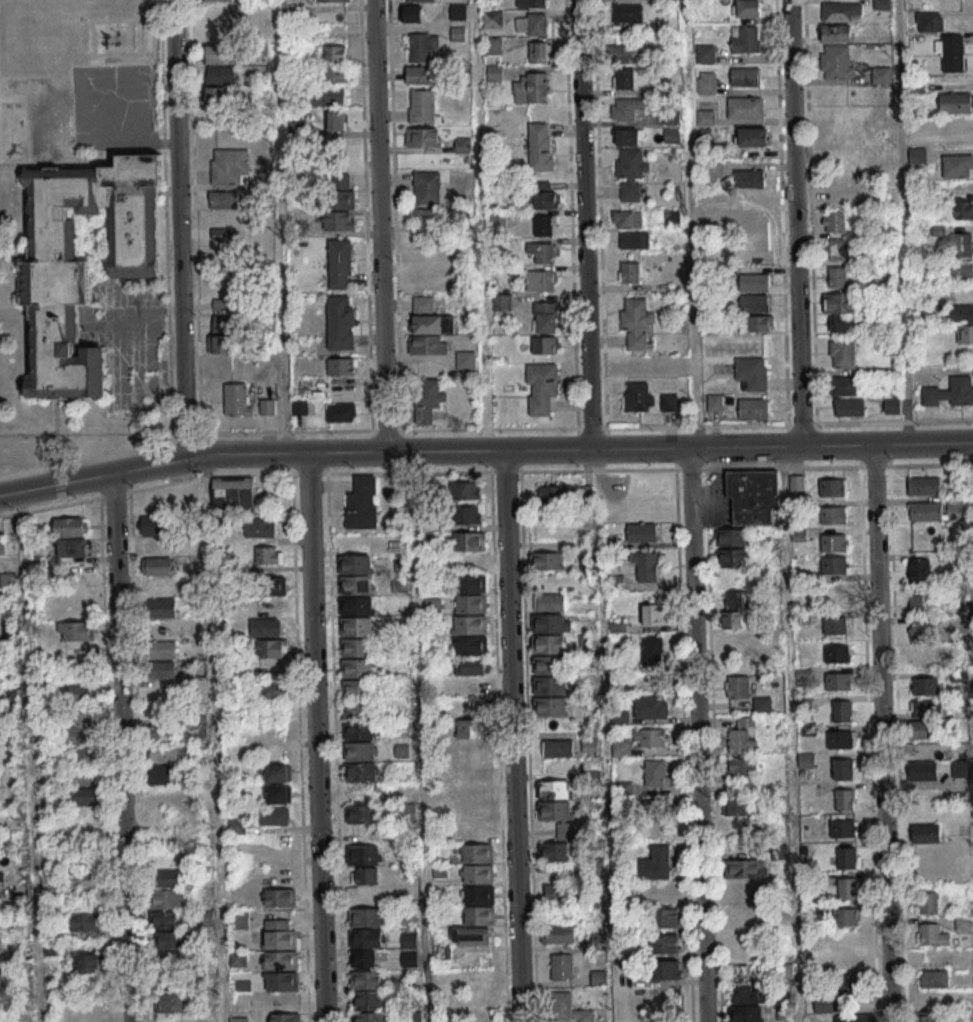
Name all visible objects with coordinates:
building: (219, 0)
building: (333, 0)
building: (418, 0)
building: (531, 3)
building: (746, 8)
building: (457, 11)
building: (840, 11)
building: (627, 12)
building: (412, 13)
building: (492, 18)
building: (931, 22)
building: (531, 24)
building: (457, 33)
building: (837, 33)
building: (745, 39)
building: (217, 44)
building: (421, 46)
building: (493, 46)
building: (538, 52)
building: (951, 52)
building: (334, 53)
building: (704, 53)
building: (627, 54)
building: (836, 63)
building: (494, 73)
building: (335, 74)
building: (421, 74)
building: (881, 74)
building: (220, 75)
building: (745, 76)
building: (623, 78)
building: (706, 83)
building: (531, 87)
building: (216, 95)
building: (328, 96)
building: (954, 103)
building: (422, 106)
building: (744, 107)
building: (627, 109)
building: (705, 117)
building: (335, 119)
building: (958, 127)
building: (916, 132)
building: (671, 135)
building: (752, 136)
building: (423, 137)
building: (629, 137)
building: (462, 145)
building: (540, 146)
building: (917, 155)
building: (955, 166)
building: (229, 167)
building: (712, 168)
building: (630, 173)
building: (748, 178)
building: (426, 187)
building: (340, 191)
building: (541, 195)
building: (873, 196)
building: (223, 199)
building: (754, 199)
building: (961, 209)
building: (426, 217)
building: (626, 219)
building: (338, 220)
building: (497, 220)
building: (755, 220)
building: (833, 222)
road: (903, 222)
road: (794, 223)
road: (689, 224)
road: (478, 225)
building: (544, 225)
road: (583, 225)
road: (378, 226)
road: (178, 229)
building: (633, 240)
building: (958, 244)
building: (837, 249)
building: (542, 251)
building: (81, 262)
building: (339, 264)
building: (629, 272)
building: (959, 272)
building: (835, 277)
building: (539, 279)
building: (754, 282)
building: (501, 302)
building: (754, 303)
building: (841, 303)
building: (960, 313)
building: (428, 317)
building: (544, 317)
building: (339, 322)
building: (637, 323)
building: (760, 323)
building: (845, 324)
building: (221, 334)
building: (965, 334)
building: (428, 344)
building: (544, 344)
building: (842, 352)
building: (465, 359)
building: (641, 365)
building: (341, 366)
building: (750, 374)
building: (843, 385)
building: (540, 388)
building: (950, 392)
building: (637, 396)
building: (427, 398)
building: (237, 399)
building: (668, 401)
building: (714, 403)
building: (267, 406)
building: (299, 407)
building: (849, 407)
building: (753, 408)
building: (339, 412)
road: (478, 429)
road: (579, 450)
road: (484, 472)
road: (93, 477)
building: (796, 483)
building: (924, 486)
building: (833, 487)
building: (465, 490)
building: (585, 493)
building: (233, 494)
building: (552, 494)
building: (752, 496)
building: (159, 502)
building: (360, 504)
building: (925, 511)
building: (466, 515)
building: (833, 515)
building: (259, 528)
building: (641, 532)
building: (154, 536)
building: (71, 537)
building: (731, 537)
building: (427, 541)
building: (466, 542)
building: (833, 542)
building: (1, 546)
road: (969, 552)
building: (268, 555)
building: (732, 557)
building: (546, 561)
building: (353, 565)
building: (586, 565)
building: (646, 565)
building: (833, 565)
building: (157, 566)
building: (918, 570)
building: (469, 584)
building: (270, 586)
building: (352, 586)
building: (736, 599)
building: (832, 599)
building: (550, 602)
building: (470, 604)
building: (919, 604)
building: (353, 606)
building: (162, 608)
building: (652, 614)
building: (731, 619)
building: (545, 623)
building: (468, 625)
building: (834, 625)
building: (354, 626)
building: (265, 627)
building: (76, 630)
building: (922, 630)
building: (731, 642)
building: (546, 645)
building: (470, 646)
building: (271, 648)
building: (354, 648)
building: (162, 649)
building: (652, 650)
building: (837, 654)
building: (921, 658)
building: (547, 665)
building: (471, 666)
building: (355, 668)
building: (161, 669)
building: (838, 681)
building: (547, 685)
building: (738, 686)
building: (925, 686)
building: (465, 687)
building: (356, 689)
building: (271, 690)
building: (81, 693)
building: (650, 706)
building: (548, 707)
building: (926, 708)
building: (356, 710)
building: (841, 710)
building: (80, 713)
building: (619, 717)
building: (471, 729)
building: (922, 730)
building: (357, 731)
building: (160, 733)
road: (881, 733)
building: (79, 734)
road: (791, 734)
road: (605, 735)
road: (696, 735)
road: (419, 736)
road: (511, 736)
building: (742, 736)
road: (314, 737)
building: (650, 737)
road: (213, 738)
building: (840, 739)
road: (867, 744)
road: (896, 744)
building: (589, 745)
road: (682, 745)
road: (527, 746)
road: (712, 746)
road: (120, 747)
road: (334, 747)
road: (497, 747)
building: (557, 748)
building: (623, 748)
building: (358, 752)
building: (168, 754)
building: (85, 755)
road: (29, 756)
building: (471, 761)
building: (805, 761)
building: (743, 766)
building: (844, 769)
building: (923, 771)
building: (273, 773)
building: (358, 773)
building: (656, 773)
building: (162, 774)
building: (81, 778)
building: (552, 790)
building: (278, 794)
building: (84, 796)
building: (844, 799)
building: (738, 806)
building: (553, 811)
building: (653, 811)
building: (476, 812)
building: (359, 815)
building: (274, 816)
building: (236, 826)
building: (842, 826)
building: (925, 833)
building: (554, 852)
building: (476, 854)
building: (363, 855)
building: (848, 857)
building: (654, 864)
building: (745, 868)
building: (476, 875)
building: (364, 876)
building: (84, 880)
building: (2, 881)
building: (849, 888)
building: (664, 892)
building: (559, 893)
building: (477, 896)
building: (279, 897)
building: (928, 902)
building: (167, 910)
building: (406, 916)
building: (846, 916)
building: (365, 917)
building: (478, 917)
building: (664, 918)
building: (240, 920)
building: (85, 921)
building: (963, 922)
building: (278, 934)
building: (557, 934)
building: (931, 935)
building: (471, 936)
building: (409, 940)
building: (665, 944)
building: (364, 947)
building: (238, 959)
building: (409, 959)
building: (279, 960)
building: (87, 963)
building: (561, 966)
building: (667, 970)
building: (171, 975)
building: (0, 977)
building: (599, 977)
building: (933, 979)
building: (365, 980)
building: (280, 981)
building: (851, 987)
building: (747, 994)
building: (171, 1003)
building: (822, 1003)
building: (369, 1007)
building: (568, 1009)
building: (781, 1013)
building: (285, 1017)
building: (930, 1017)
building: (854, 1018)
building: (238, 1019)

